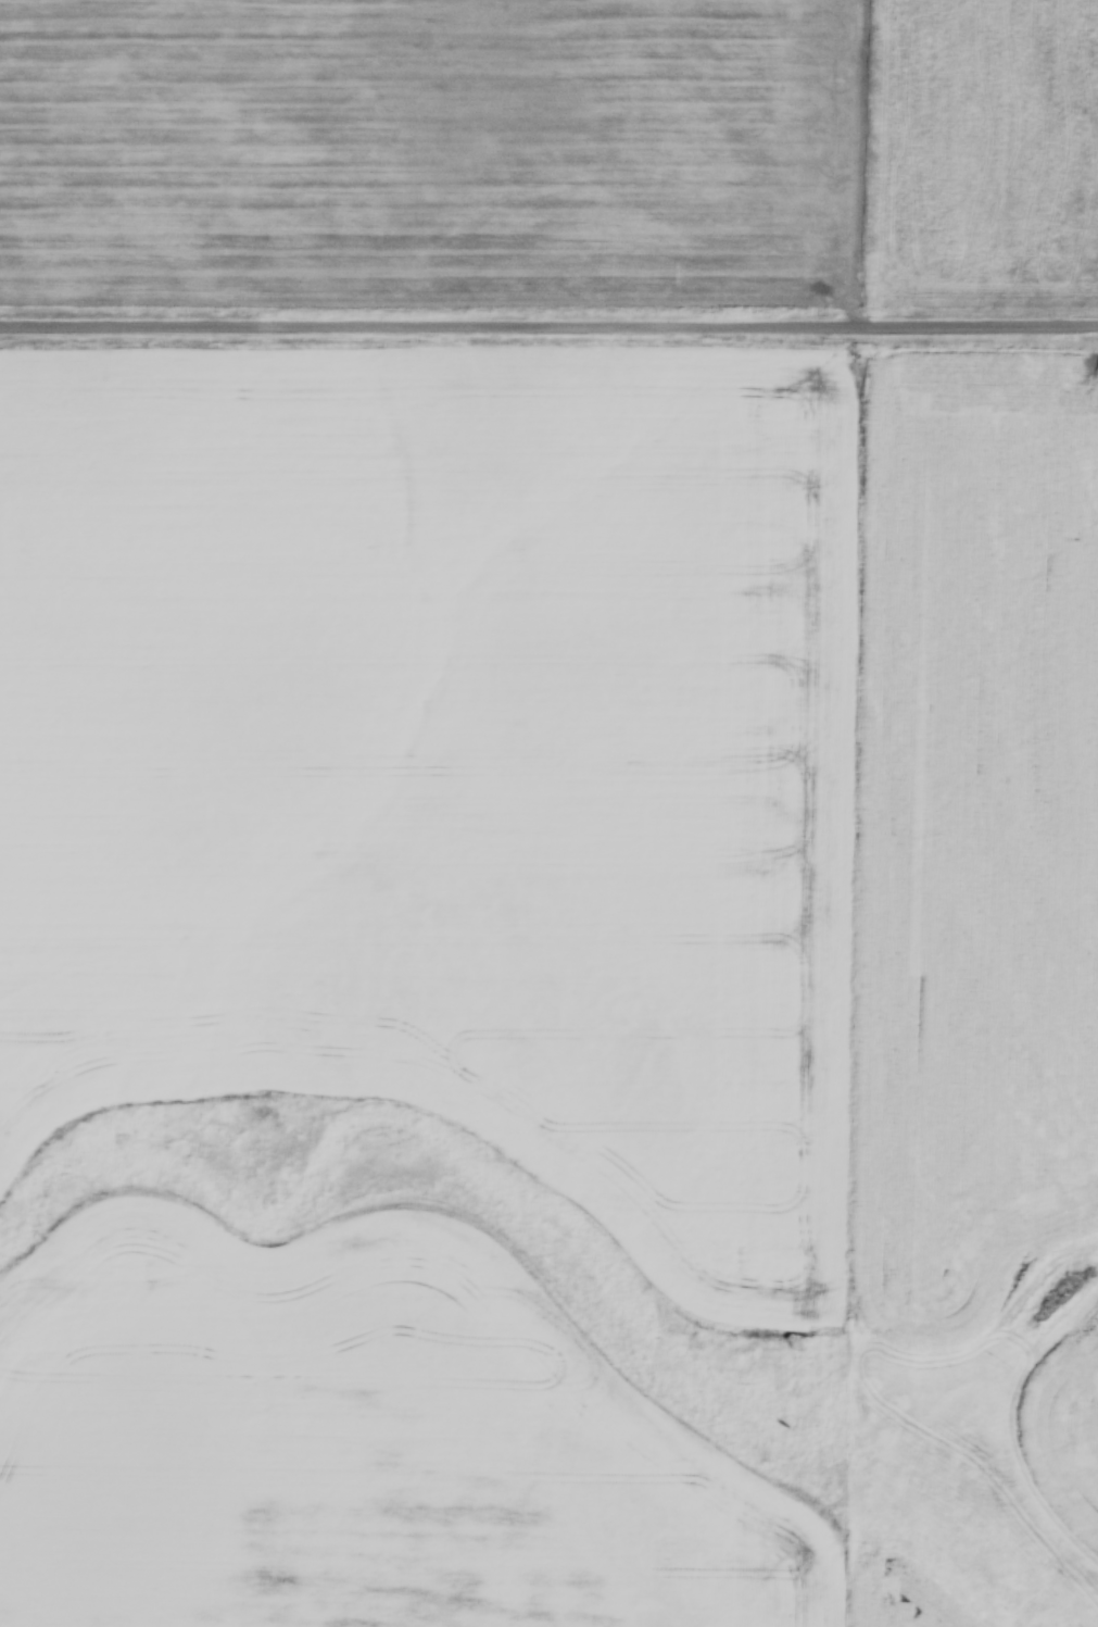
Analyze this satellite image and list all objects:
road: (548, 329)

